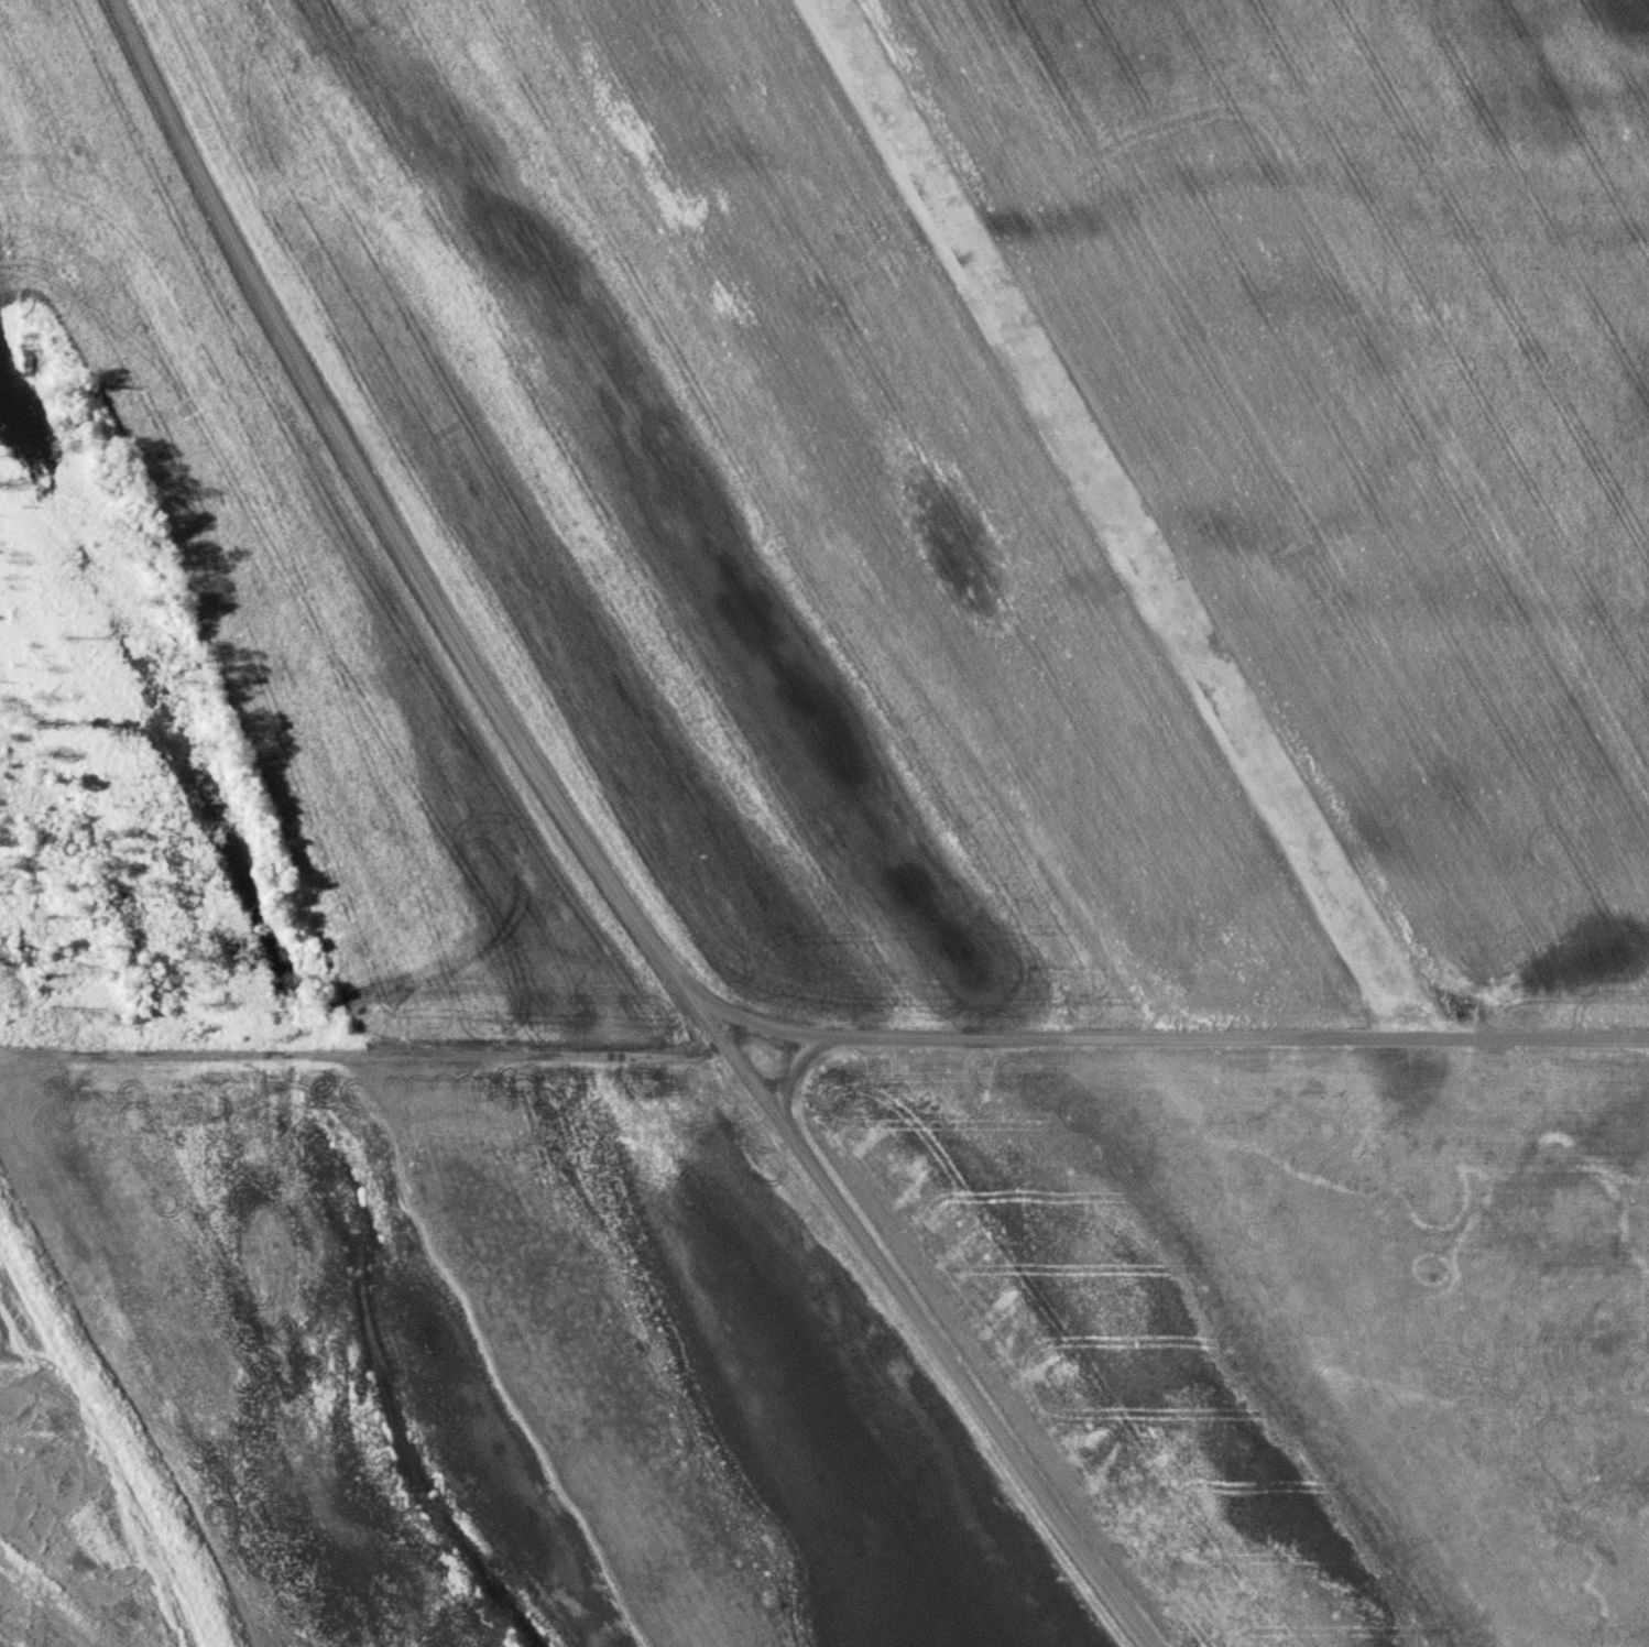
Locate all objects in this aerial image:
road: (596, 849)
road: (1161, 1039)
road: (795, 1067)

